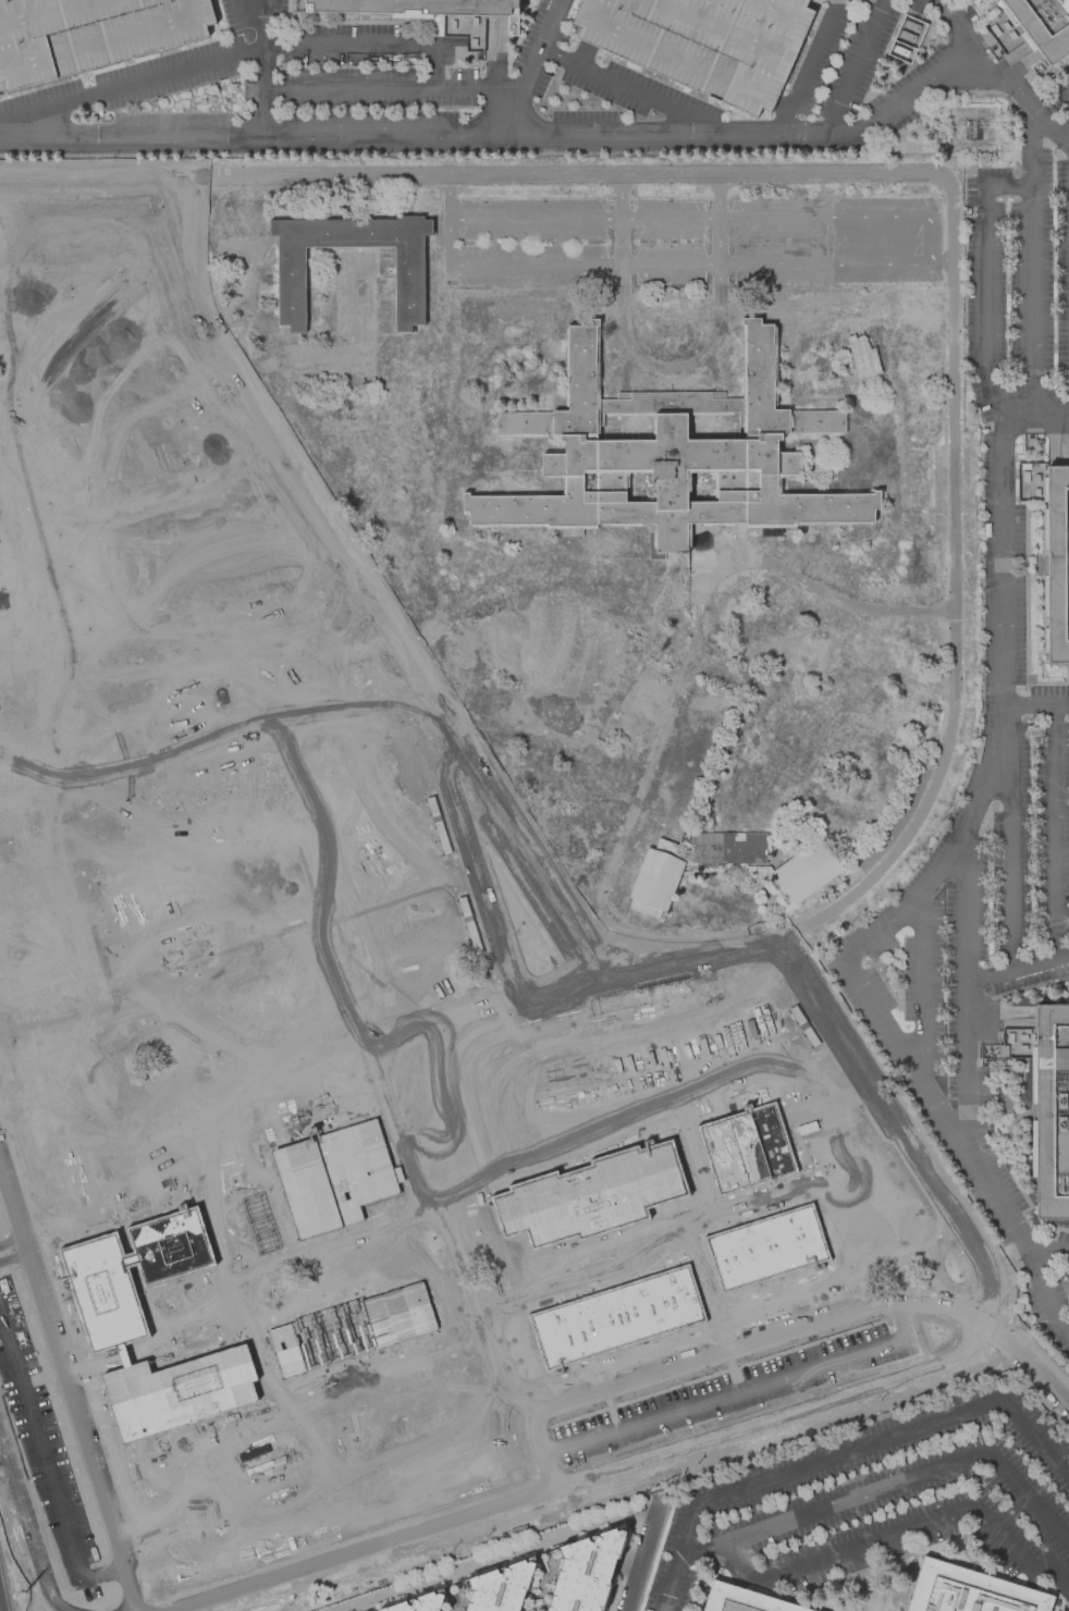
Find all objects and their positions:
road: (835, 0)
road: (241, 5)
building: (420, 5)
road: (254, 8)
road: (939, 11)
road: (815, 14)
building: (512, 25)
building: (1044, 25)
building: (90, 34)
parking garage: (90, 34)
road: (515, 36)
building: (906, 38)
building: (704, 41)
parking garage: (704, 41)
road: (347, 46)
road: (583, 53)
road: (531, 66)
road: (807, 66)
road: (855, 66)
road: (262, 67)
road: (432, 67)
road: (126, 70)
road: (992, 82)
road: (131, 86)
road: (392, 89)
road: (632, 89)
road: (783, 106)
road: (496, 134)
road: (562, 176)
road: (97, 179)
road: (1007, 187)
road: (449, 196)
road: (706, 216)
road: (718, 219)
road: (620, 220)
road: (942, 257)
building: (402, 260)
road: (669, 263)
road: (1030, 263)
road: (984, 307)
building: (864, 354)
road: (671, 366)
road: (1034, 426)
building: (671, 456)
road: (1027, 552)
building: (1057, 563)
road: (786, 571)
road: (954, 585)
road: (361, 590)
road: (882, 663)
parking lot: (998, 677)
road: (1005, 699)
road: (1037, 708)
road: (1054, 834)
building: (733, 847)
building: (689, 853)
road: (944, 864)
road: (479, 869)
building: (804, 872)
building: (658, 878)
road: (650, 969)
road: (1017, 971)
road: (1024, 989)
road: (920, 992)
road: (966, 997)
road: (996, 1010)
building: (1050, 1111)
road: (959, 1146)
road: (1020, 1160)
road: (932, 1178)
road: (11, 1250)
road: (1047, 1250)
road: (722, 1353)
road: (740, 1390)
road: (66, 1391)
road: (1036, 1437)
road: (852, 1447)
road: (46, 1465)
road: (585, 1478)
road: (890, 1483)
road: (27, 1527)
road: (907, 1528)
road: (641, 1552)
road: (678, 1553)
road: (500, 1558)
building: (588, 1571)
building: (502, 1586)
building: (971, 1588)
power tower: (26, 1595)
building: (746, 1598)
building: (422, 1602)
road: (0, 1609)

